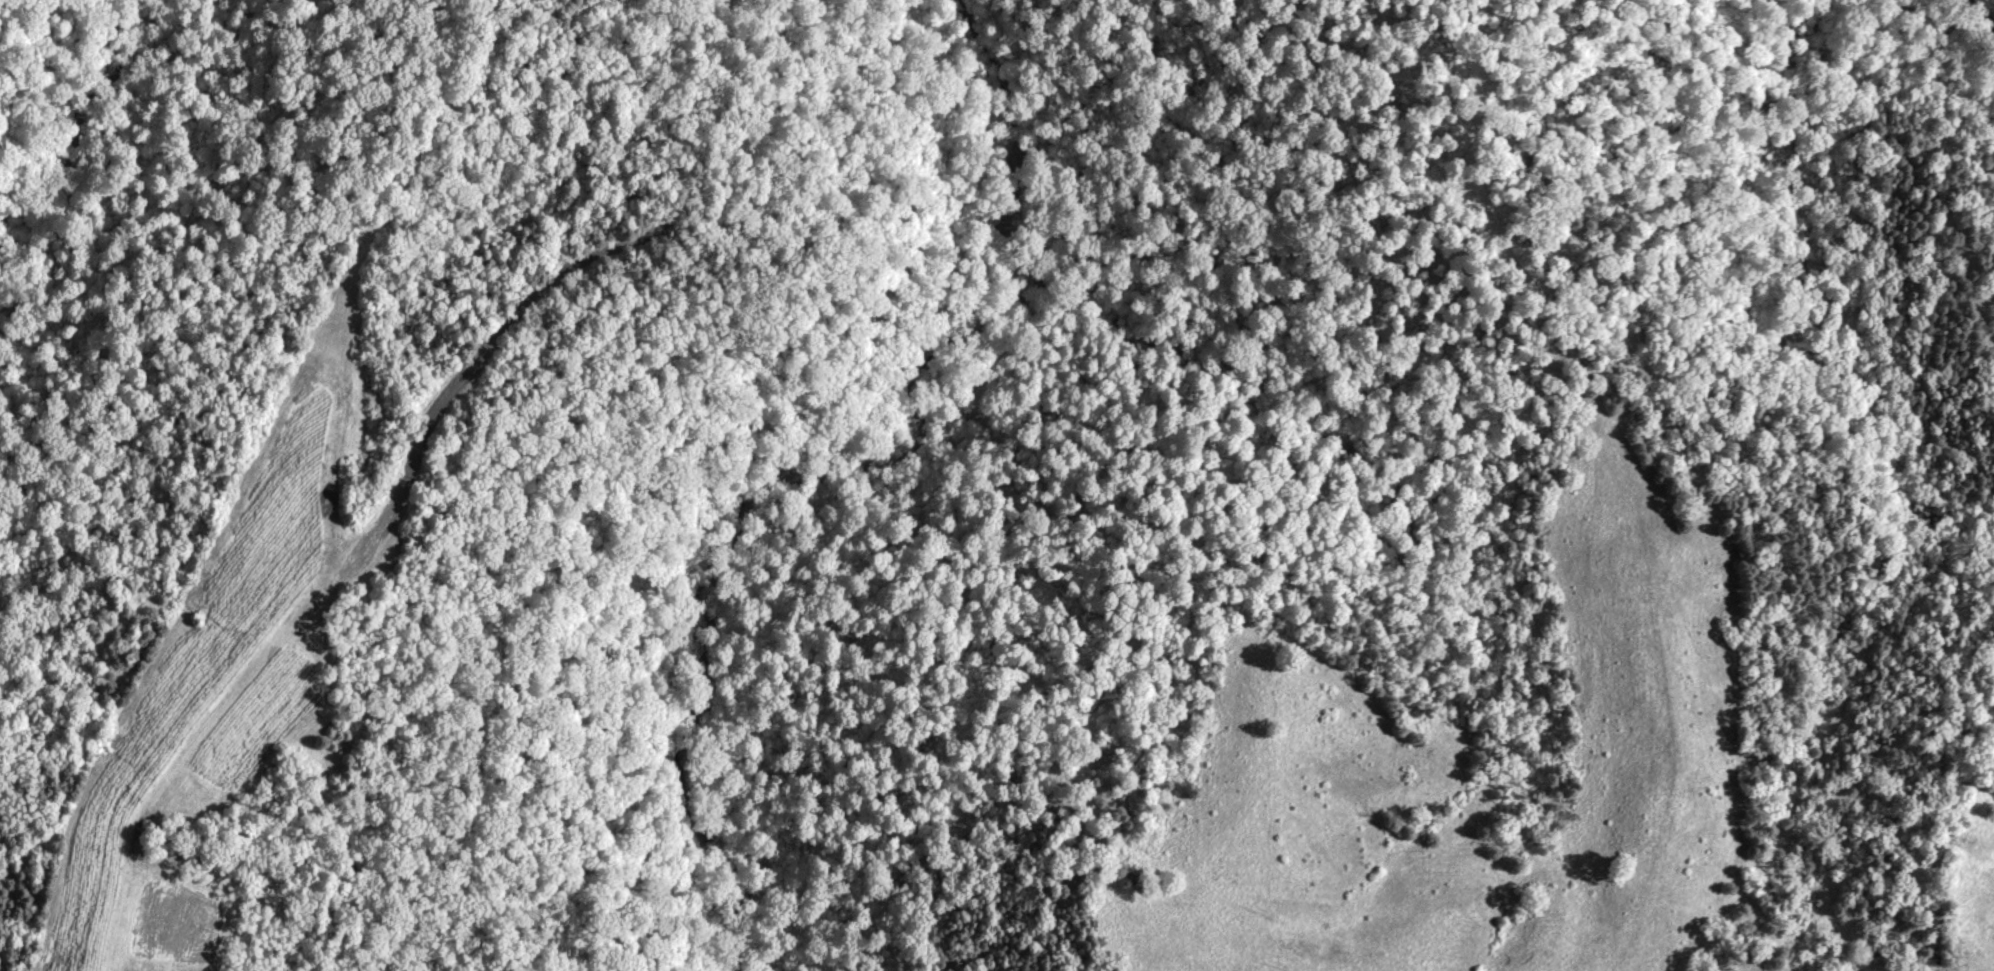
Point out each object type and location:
road: (1977, 15)

